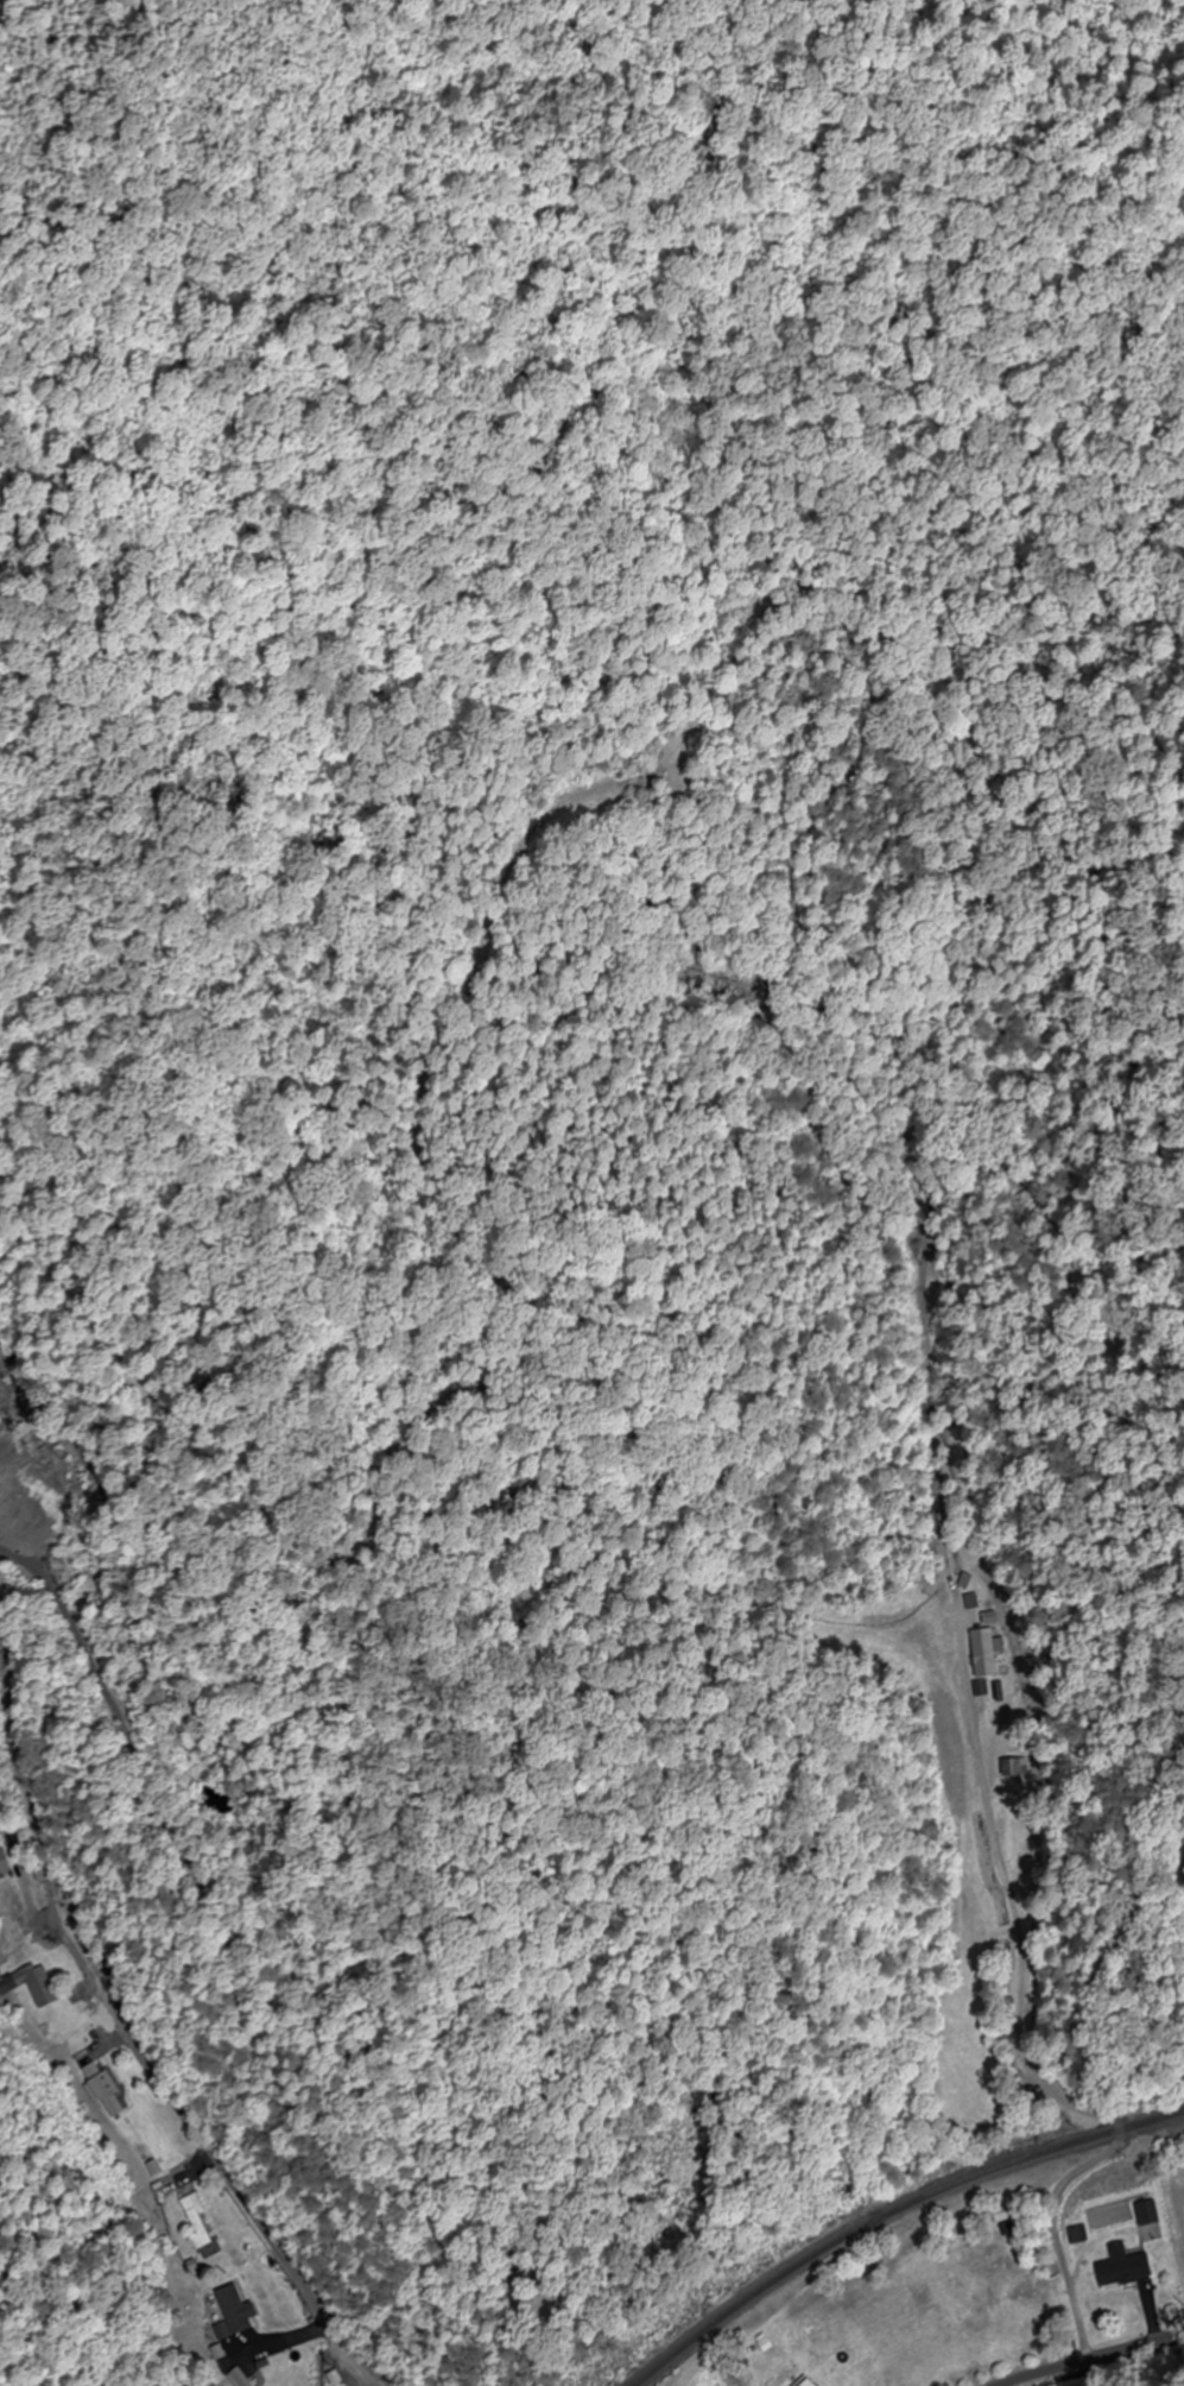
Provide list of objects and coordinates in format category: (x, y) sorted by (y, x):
building: (986, 1655)
building: (1013, 1768)
building: (5, 1863)
building: (36, 1986)
road: (128, 2037)
building: (106, 2090)
railway: (893, 2216)
building: (1150, 2223)
building: (201, 2227)
building: (1127, 2268)
road: (1089, 2356)
building: (242, 2378)
building: (811, 2382)

